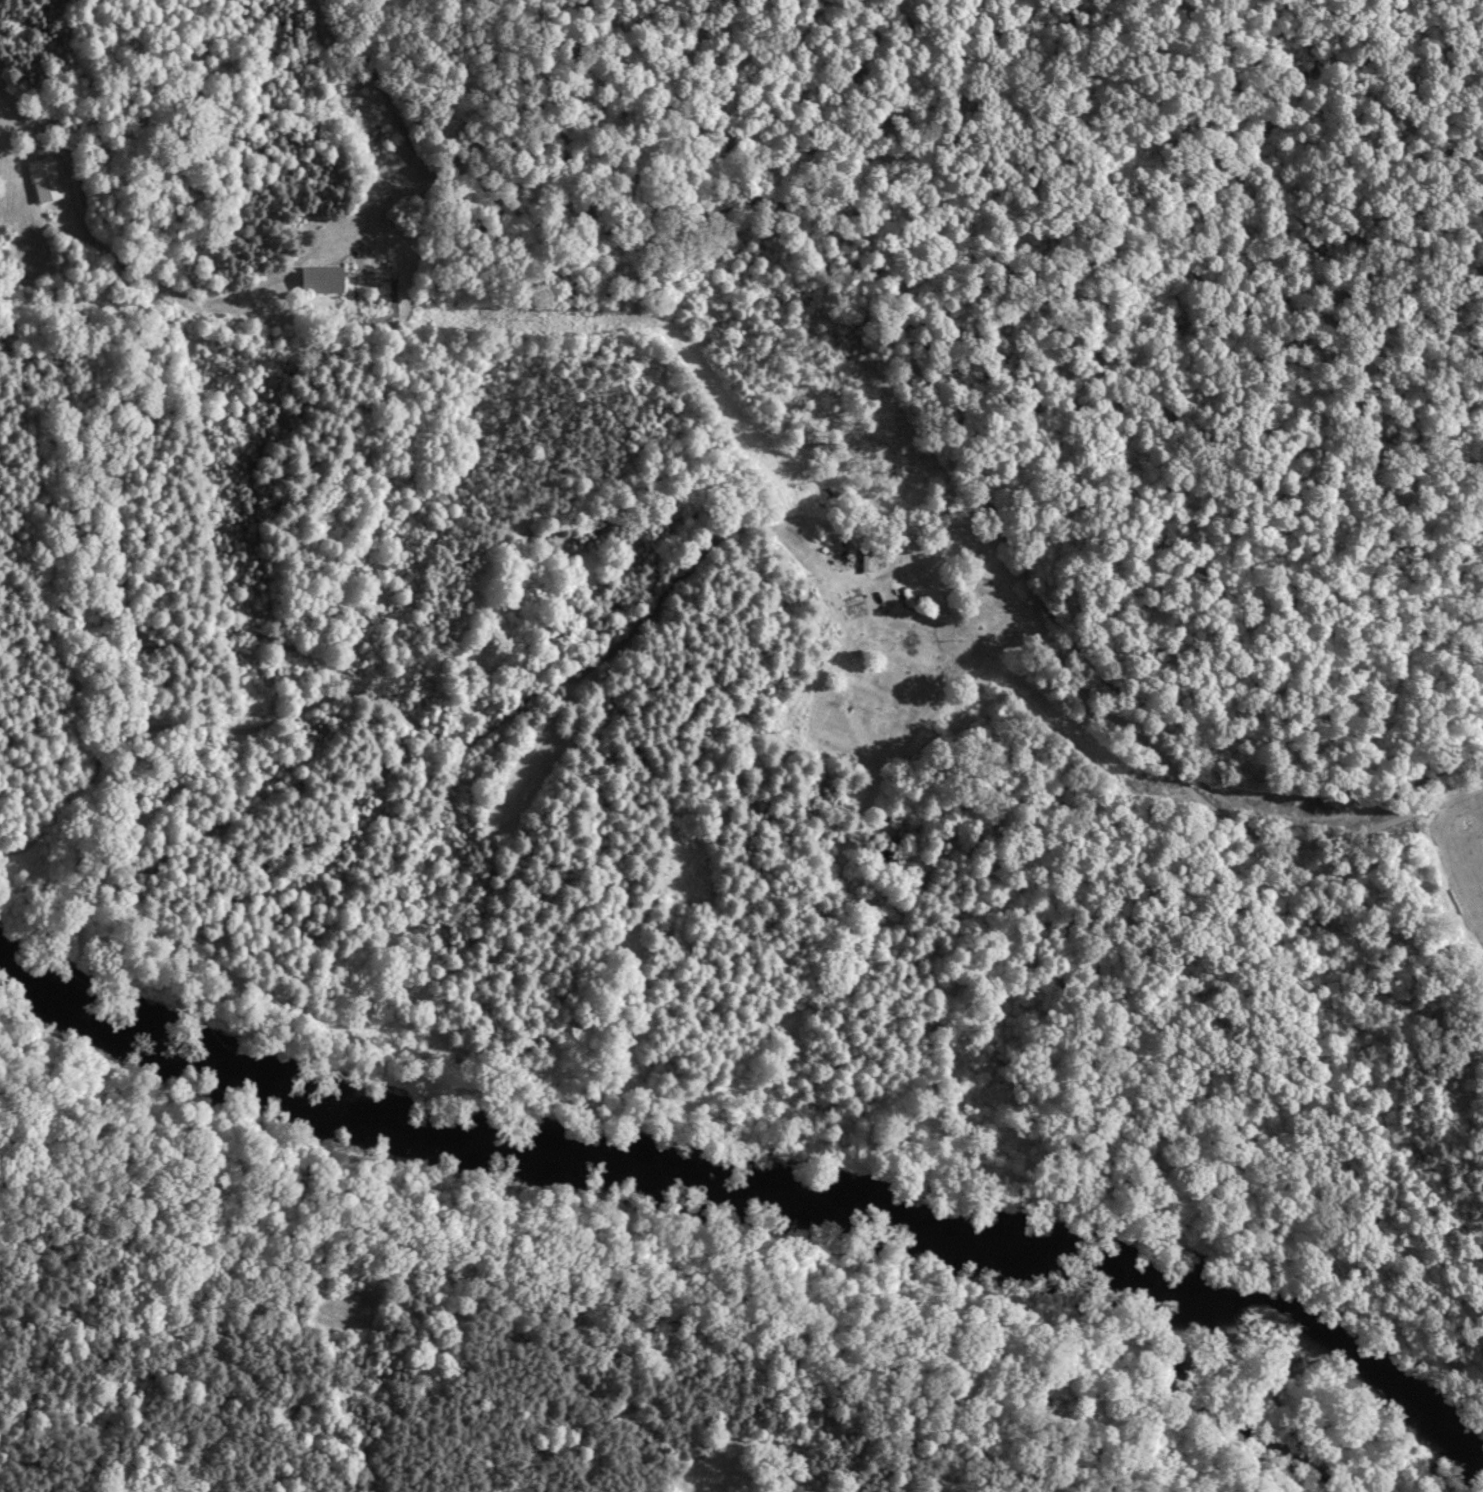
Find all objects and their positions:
building: (44, 182)
building: (322, 282)
road: (935, 378)
river: (747, 1204)

